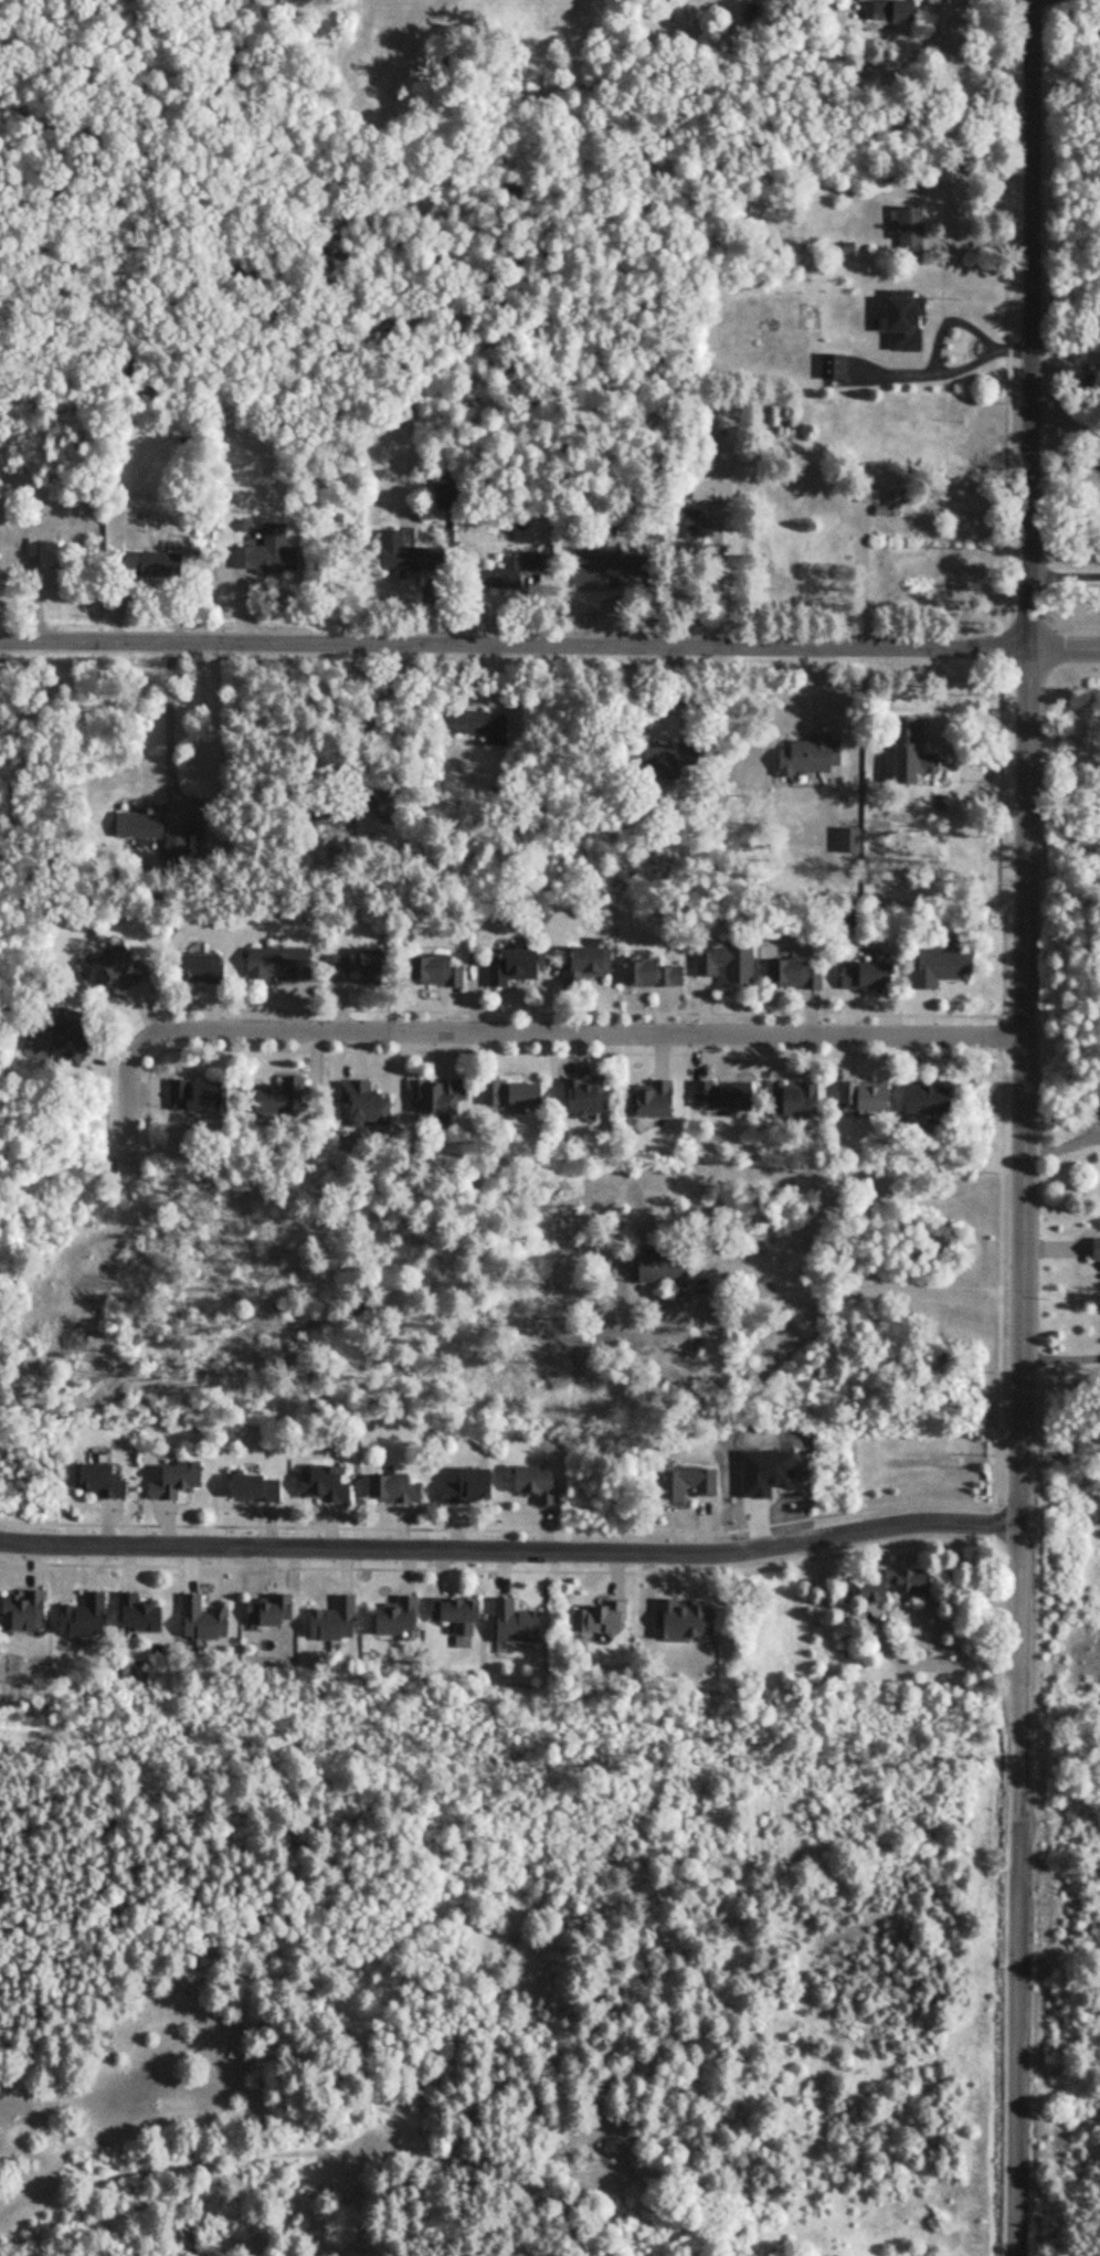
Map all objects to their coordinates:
building: (885, 10)
building: (906, 230)
building: (902, 332)
building: (708, 489)
building: (865, 490)
building: (888, 509)
building: (685, 525)
building: (53, 550)
building: (271, 551)
building: (395, 552)
building: (166, 564)
building: (588, 570)
road: (1066, 576)
building: (489, 579)
road: (516, 646)
road: (1066, 649)
road: (374, 711)
building: (466, 722)
road: (171, 727)
building: (907, 751)
building: (662, 758)
building: (801, 758)
building: (343, 817)
building: (145, 827)
road: (1005, 844)
building: (181, 846)
road: (1066, 875)
road: (1032, 910)
building: (264, 943)
building: (581, 946)
building: (709, 947)
building: (427, 949)
building: (352, 951)
building: (856, 951)
building: (930, 951)
building: (192, 952)
building: (500, 952)
building: (641, 952)
building: (776, 955)
building: (284, 964)
building: (726, 964)
building: (207, 967)
building: (518, 967)
building: (579, 967)
building: (119, 970)
building: (442, 972)
building: (649, 973)
building: (791, 973)
building: (858, 975)
road: (546, 1010)
road: (592, 1034)
building: (75, 1037)
road: (743, 1049)
building: (341, 1070)
building: (429, 1078)
building: (512, 1079)
building: (710, 1079)
building: (789, 1080)
building: (861, 1081)
building: (574, 1082)
building: (914, 1082)
building: (643, 1084)
road: (126, 1090)
building: (519, 1094)
building: (717, 1094)
building: (203, 1097)
building: (442, 1097)
building: (591, 1097)
building: (923, 1097)
building: (284, 1098)
building: (792, 1099)
building: (372, 1106)
road: (108, 1113)
building: (1092, 1249)
building: (667, 1265)
road: (869, 1285)
building: (105, 1480)
building: (183, 1480)
building: (542, 1484)
building: (327, 1485)
building: (689, 1485)
building: (399, 1489)
building: (260, 1490)
road: (498, 1512)
road: (514, 1549)
building: (888, 1585)
building: (274, 1611)
building: (29, 1612)
building: (145, 1614)
building: (464, 1614)
building: (89, 1617)
building: (403, 1618)
building: (609, 1619)
building: (208, 1620)
building: (339, 1621)
road: (1023, 2038)
road: (585, 2190)

